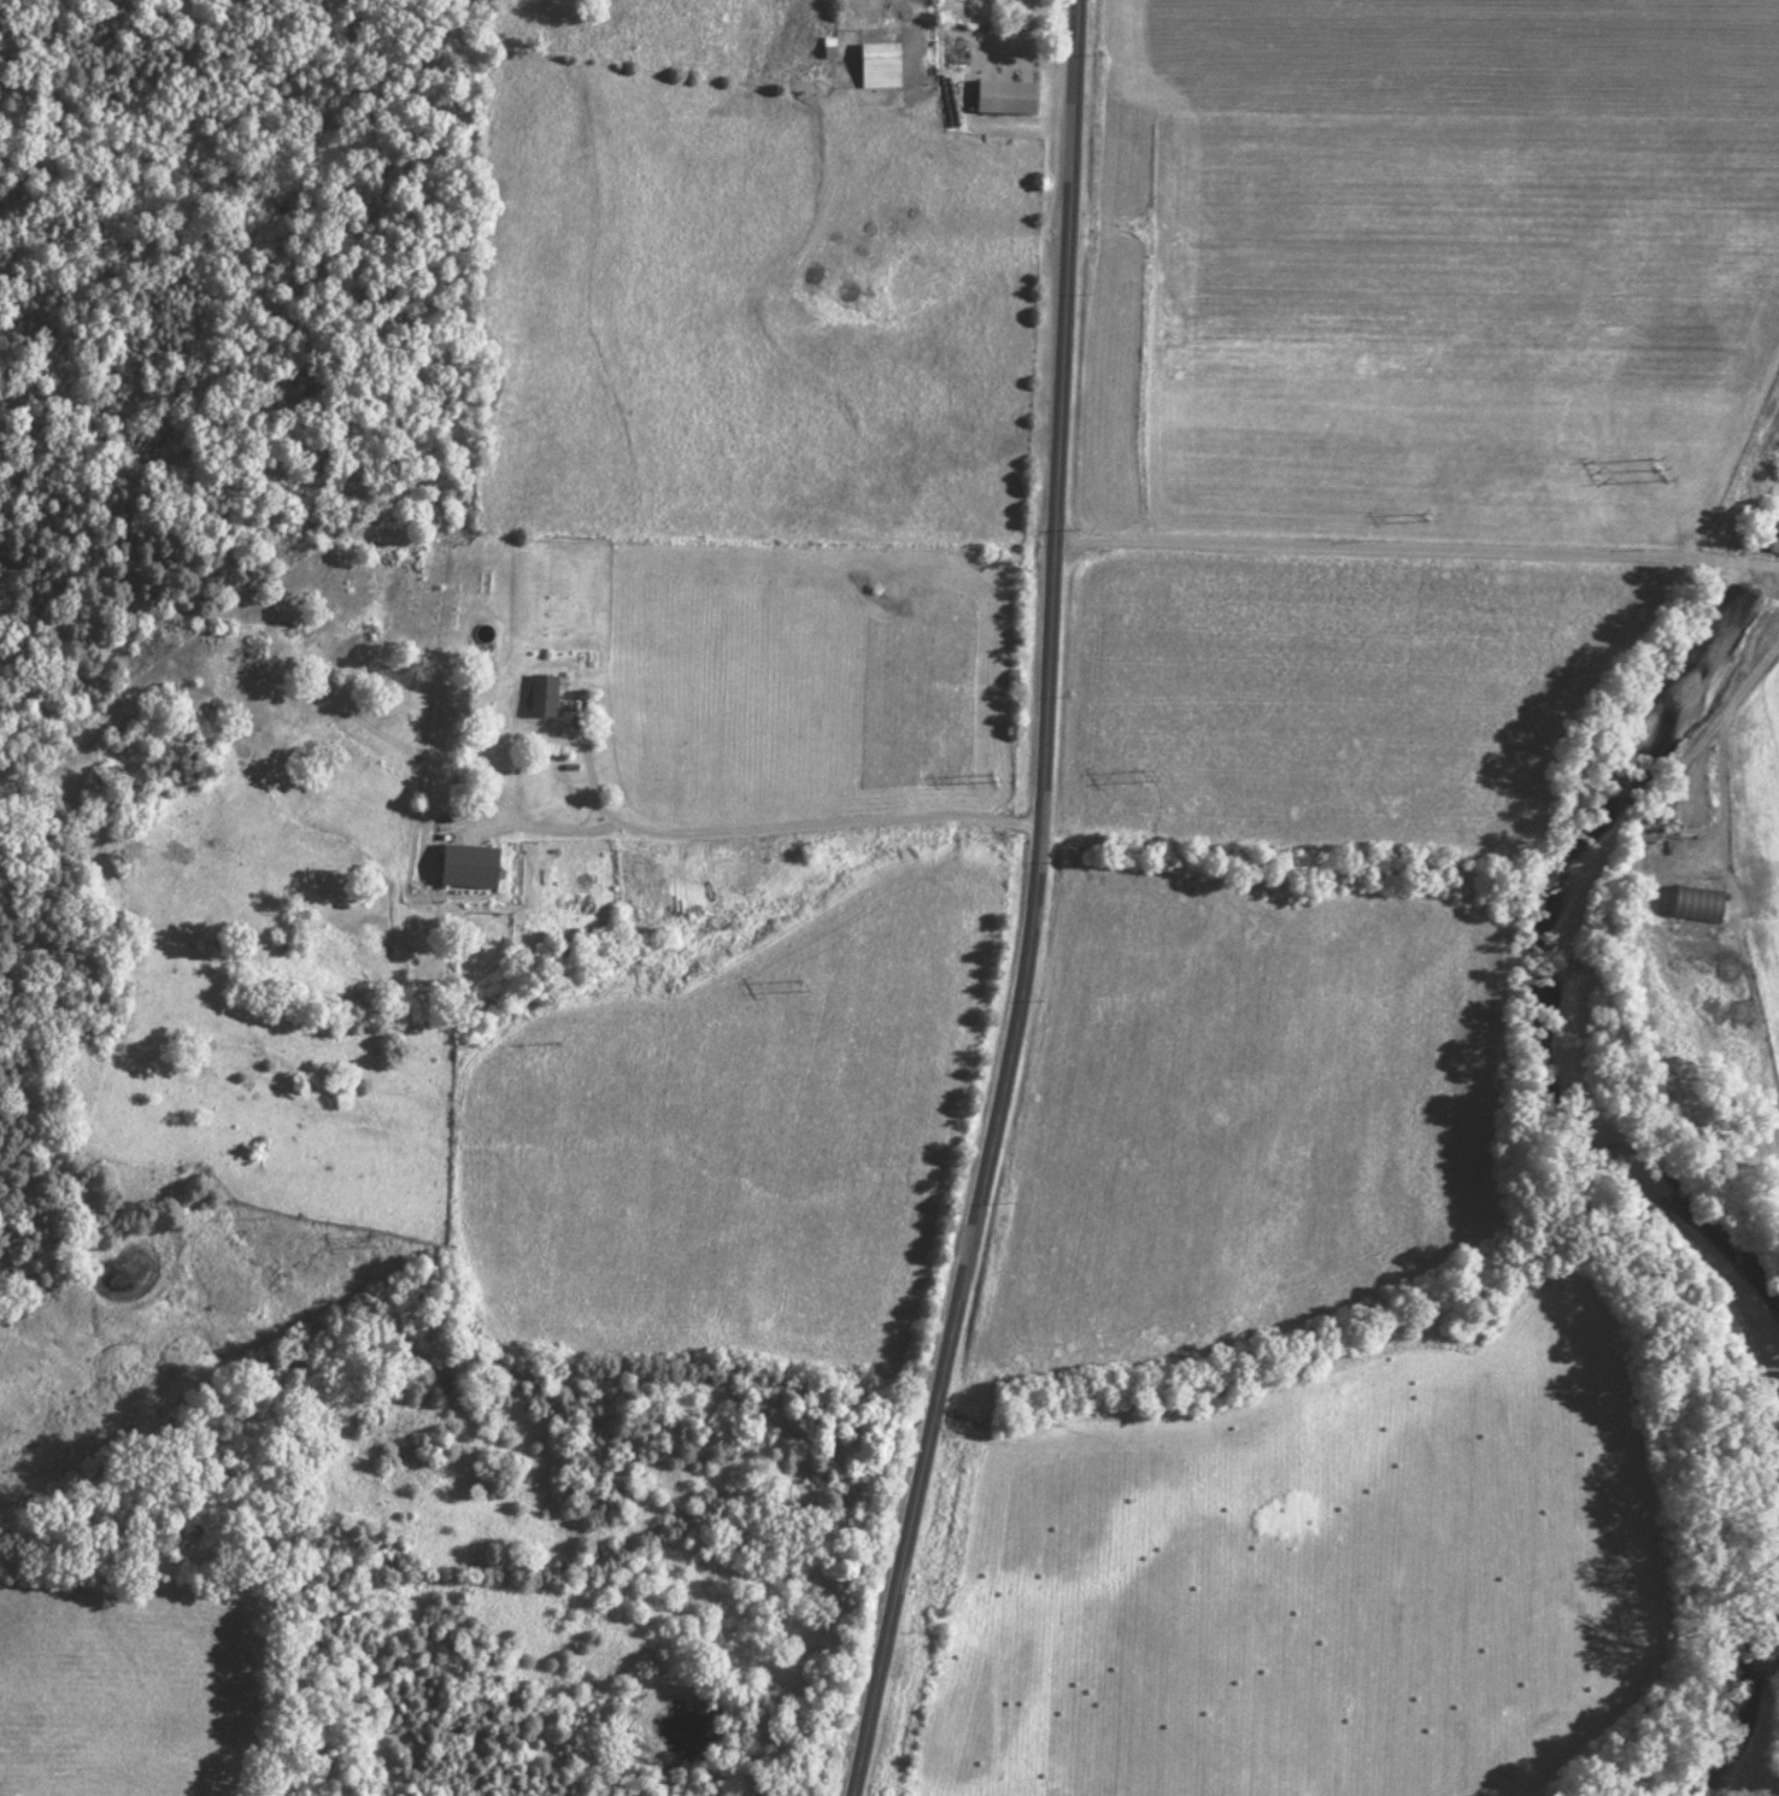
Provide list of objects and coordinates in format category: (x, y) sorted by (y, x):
building: (875, 66)
building: (1003, 98)
road: (1417, 547)
building: (538, 694)
road: (775, 822)
building: (465, 865)
building: (1693, 904)
road: (1034, 906)

